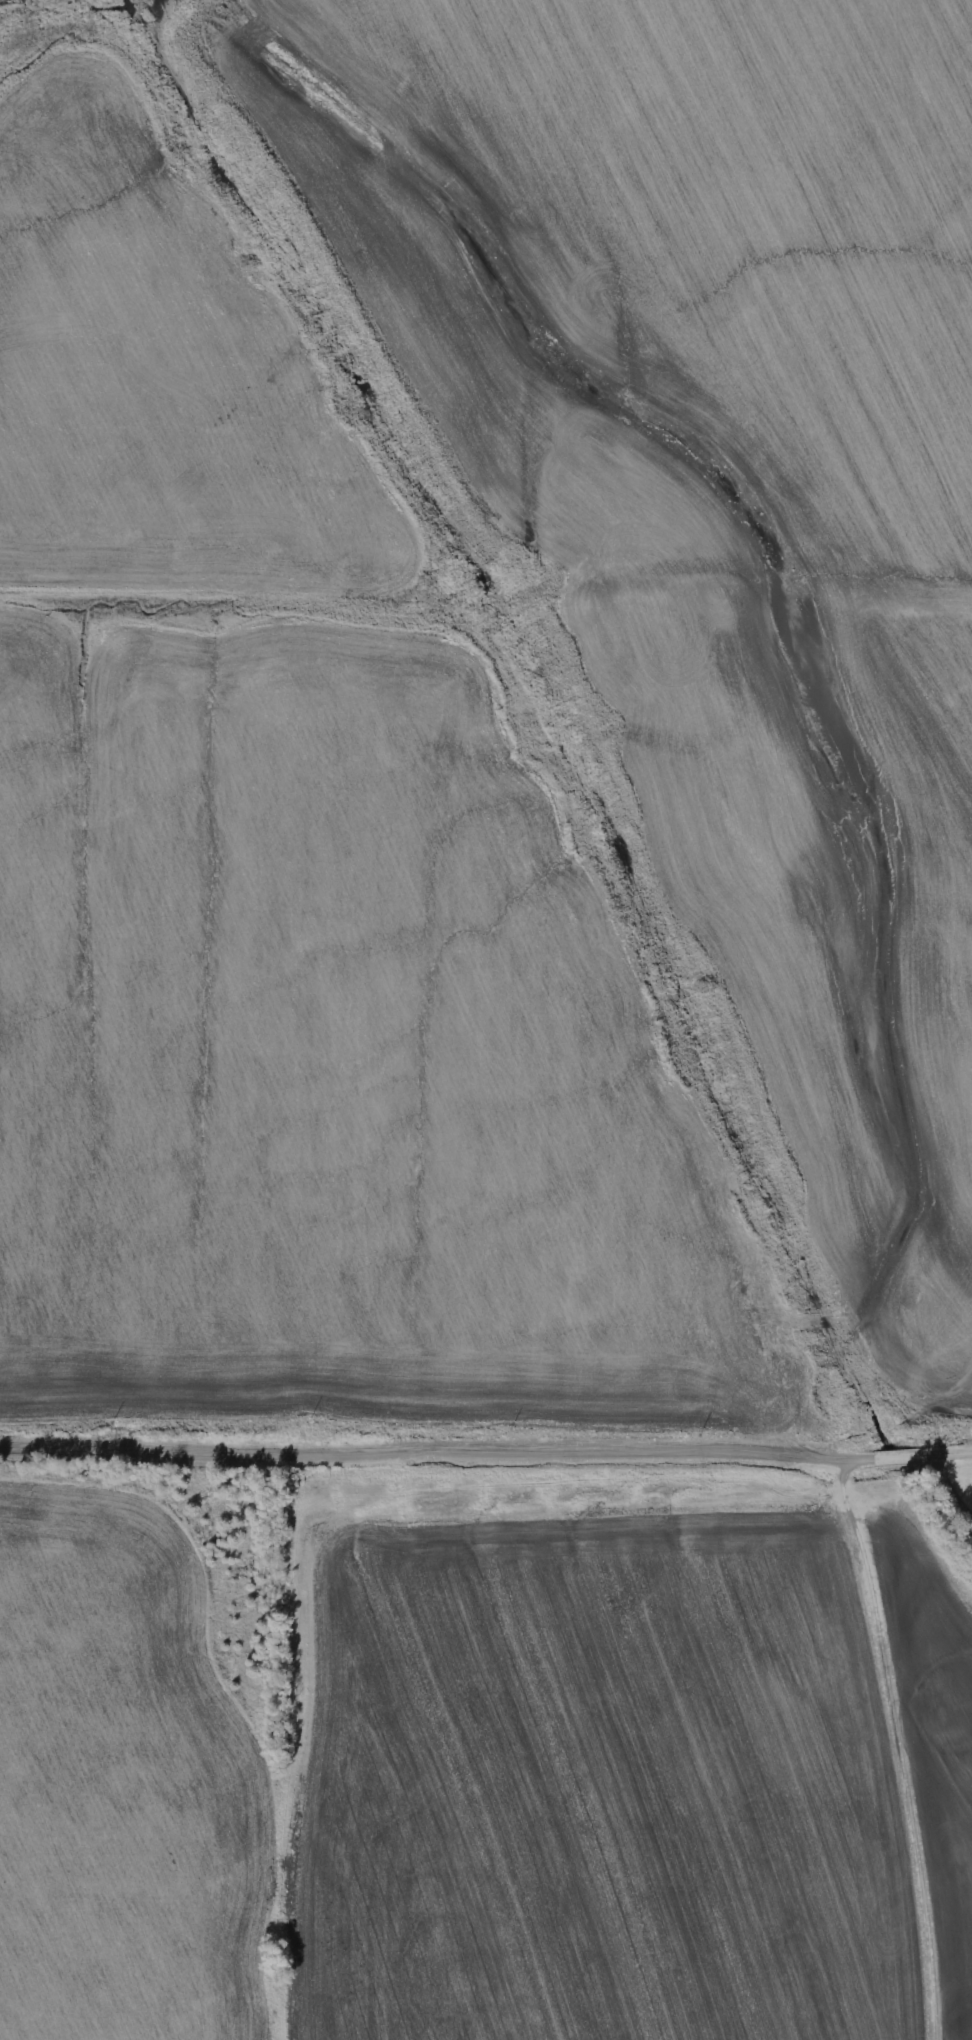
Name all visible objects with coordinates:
road: (485, 1454)

